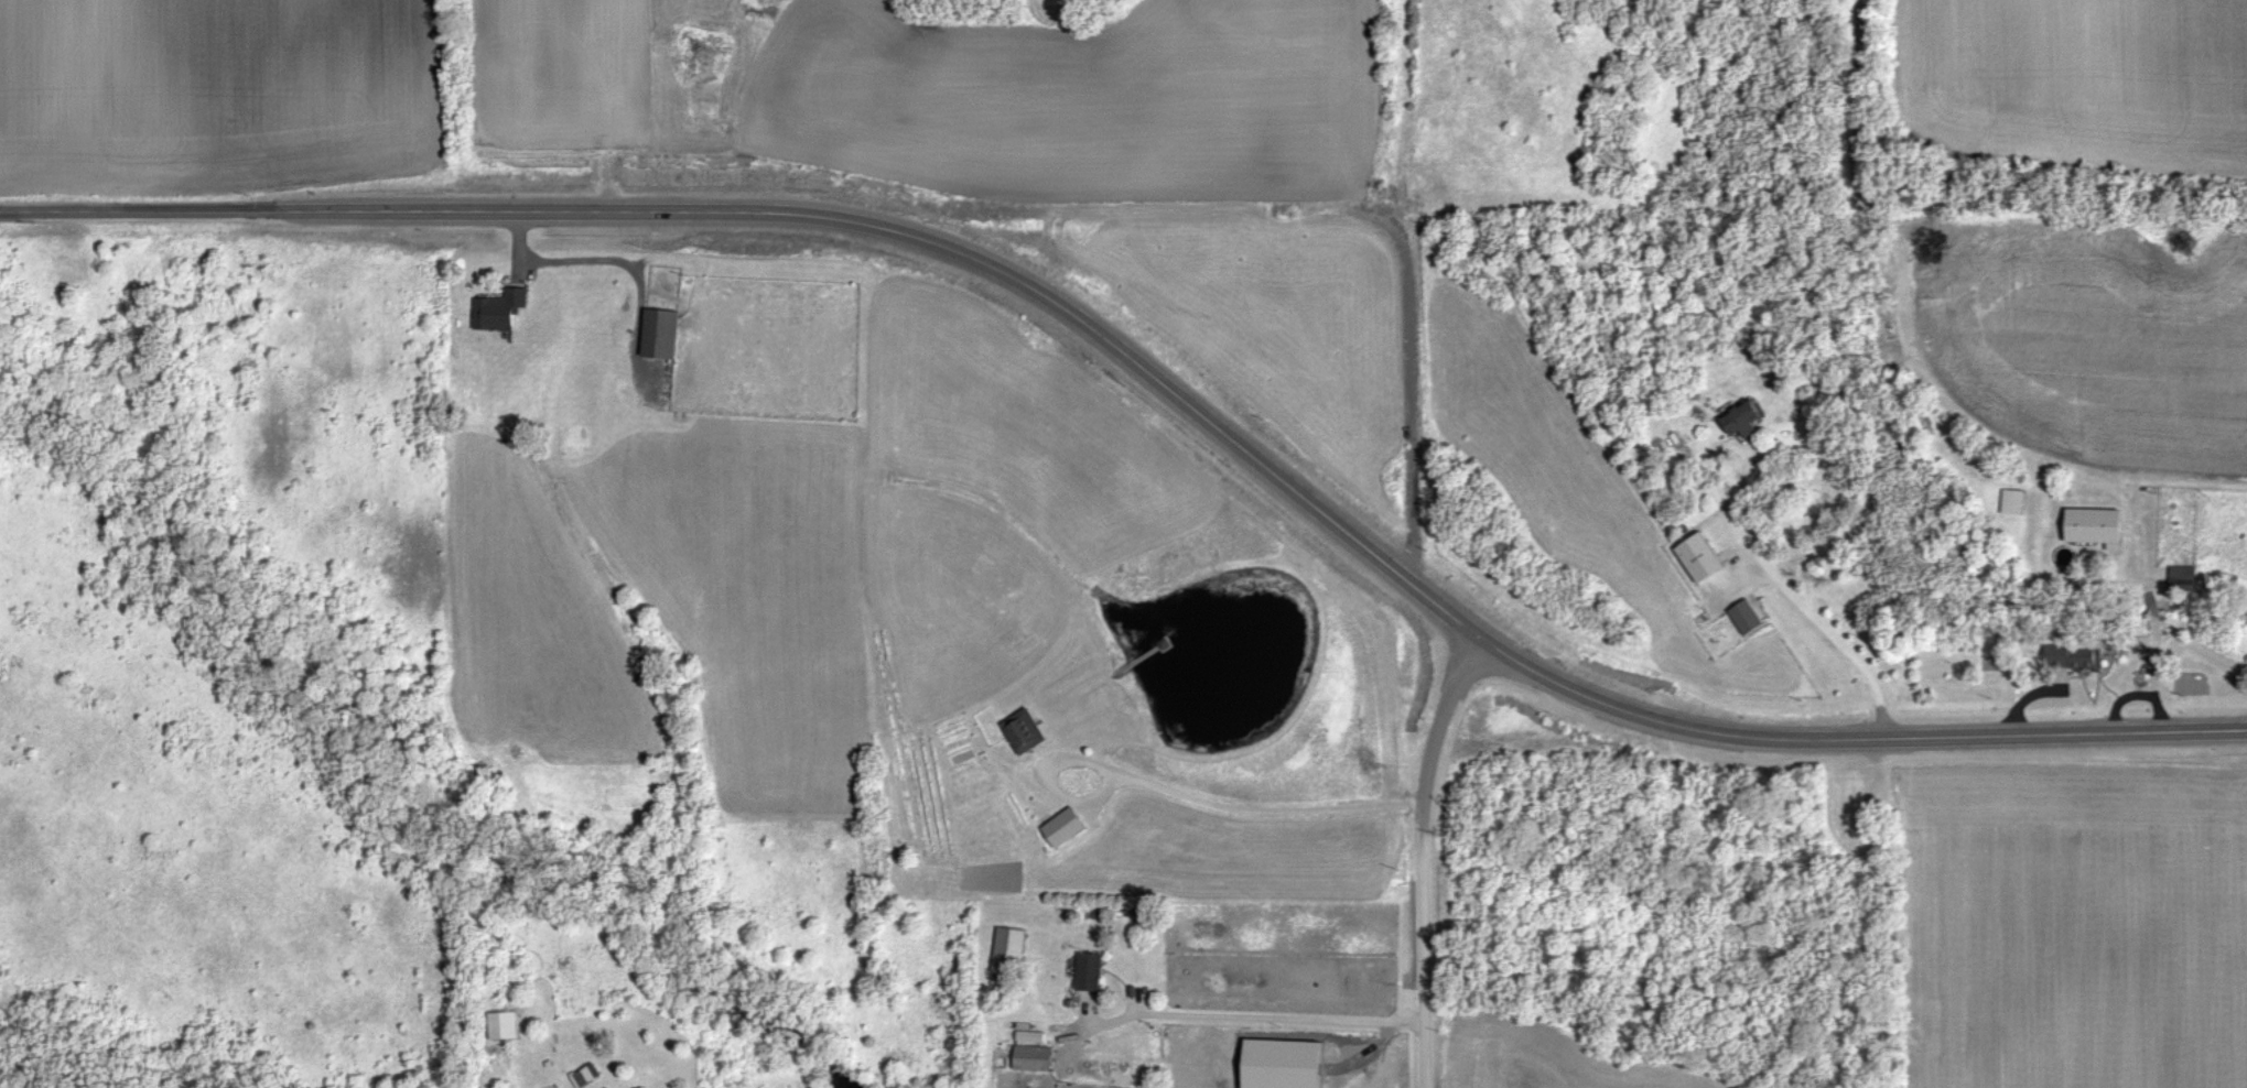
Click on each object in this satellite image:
building: (503, 312)
building: (665, 336)
road: (1157, 378)
building: (1747, 422)
building: (2017, 503)
building: (2100, 529)
building: (1704, 559)
building: (2185, 579)
road: (1794, 597)
building: (1750, 619)
road: (2158, 634)
building: (2078, 659)
road: (2124, 701)
building: (1028, 733)
road: (1184, 794)
building: (1068, 829)
road: (1424, 857)
building: (1014, 953)
building: (1093, 973)
road: (1257, 1020)
building: (507, 1029)
building: (1037, 1060)
building: (1288, 1065)
building: (586, 1078)

